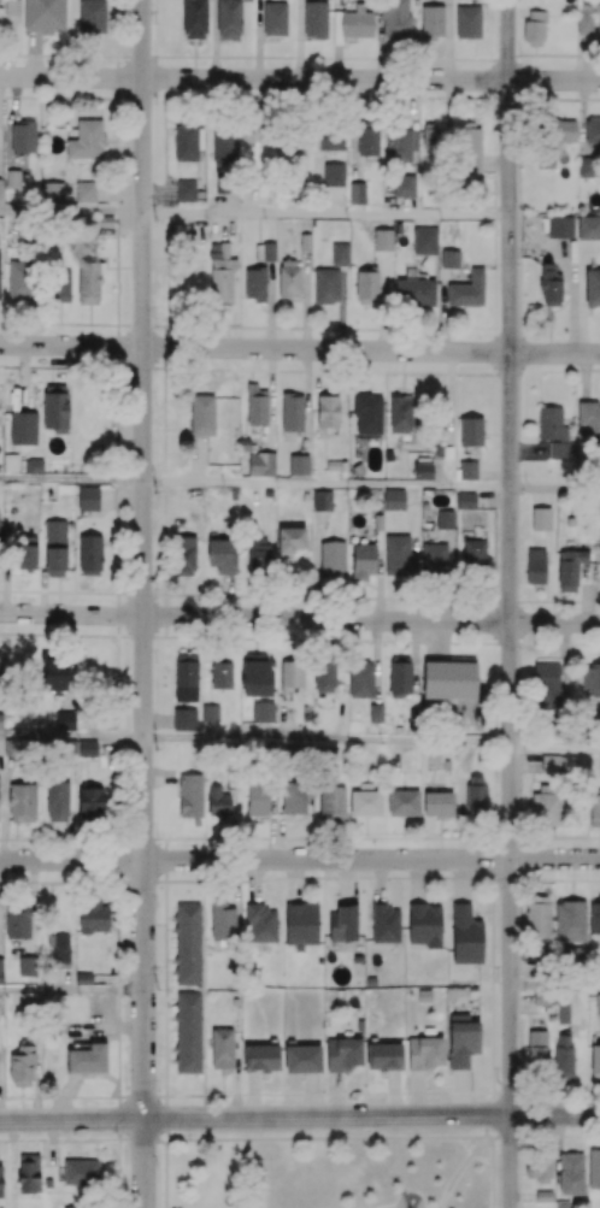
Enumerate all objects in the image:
road: (299, 78)
road: (71, 211)
road: (325, 213)
road: (299, 349)
building: (298, 464)
building: (466, 470)
road: (71, 481)
road: (327, 485)
road: (554, 489)
building: (393, 499)
building: (320, 500)
building: (464, 500)
building: (540, 518)
building: (443, 519)
building: (376, 521)
road: (143, 603)
road: (510, 603)
road: (299, 618)
building: (261, 712)
building: (208, 713)
building: (373, 713)
building: (183, 719)
building: (0, 720)
road: (71, 737)
road: (327, 739)
road: (554, 752)
road: (299, 860)
building: (259, 923)
building: (383, 924)
building: (1, 971)
building: (83, 978)
road: (554, 988)
road: (72, 992)
building: (423, 996)
building: (598, 1004)
building: (561, 1013)
road: (164, 1035)
road: (490, 1035)
building: (220, 1048)
building: (86, 1059)
building: (301, 1060)
road: (299, 1115)
road: (383, 1136)
road: (82, 1137)
park: (327, 1167)
road: (457, 1168)
building: (593, 1168)
building: (542, 1196)
building: (560, 1204)

